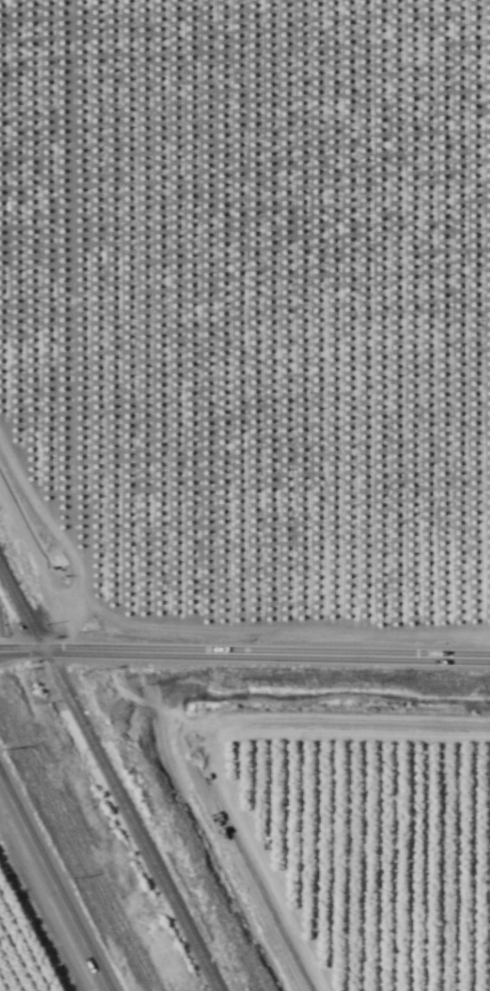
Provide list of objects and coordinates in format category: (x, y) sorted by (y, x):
road: (244, 653)
road: (217, 741)
railway: (108, 778)
road: (228, 840)
road: (53, 885)

